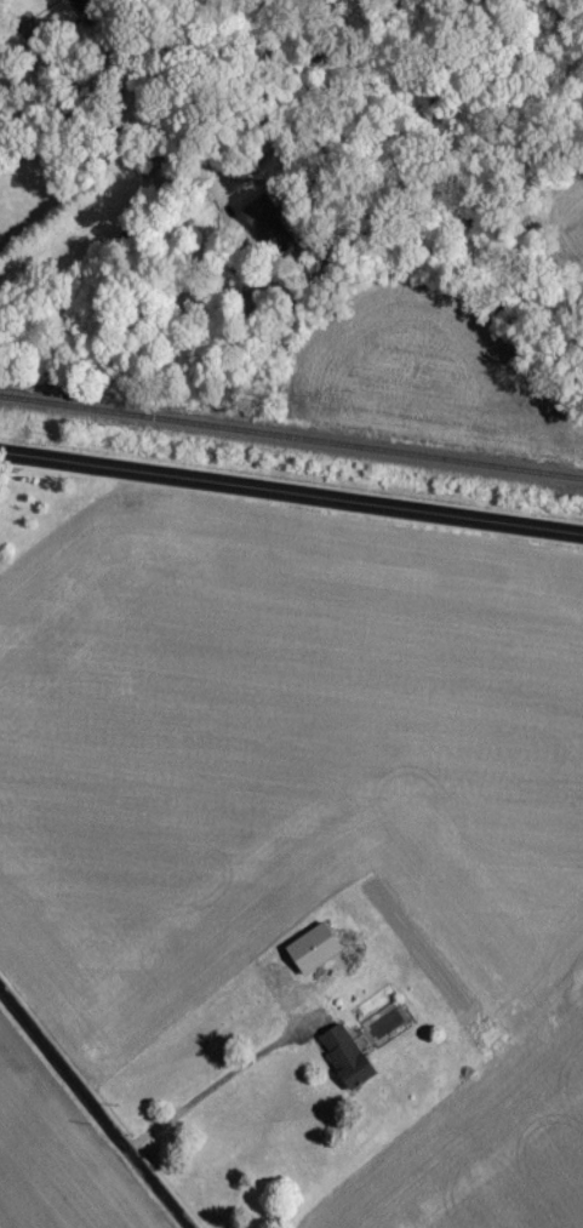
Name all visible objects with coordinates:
road: (80, 85)
railway: (291, 442)
road: (8, 473)
road: (291, 498)
building: (318, 954)
building: (350, 1063)
road: (213, 1086)
road: (93, 1109)

